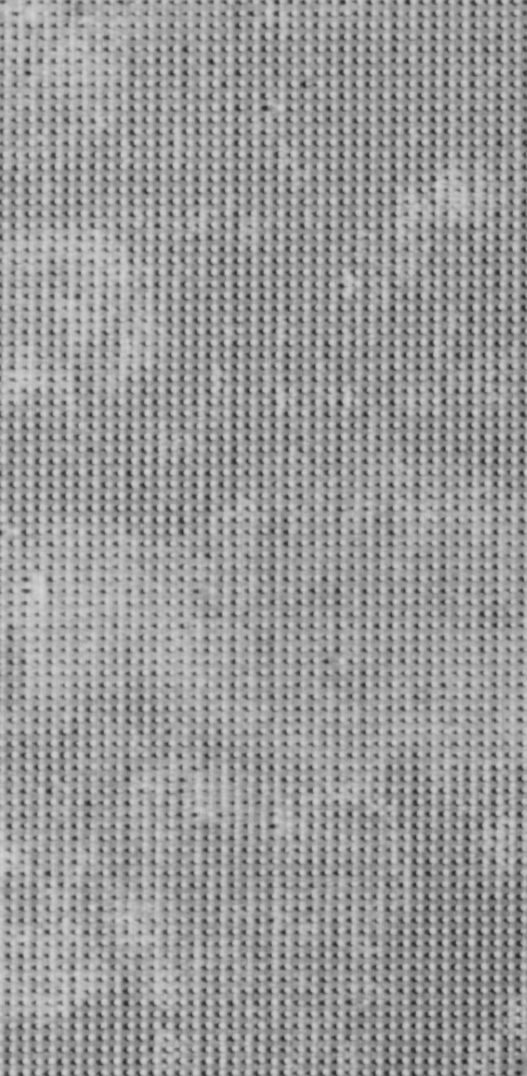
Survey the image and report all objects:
crop: (264, 541)

